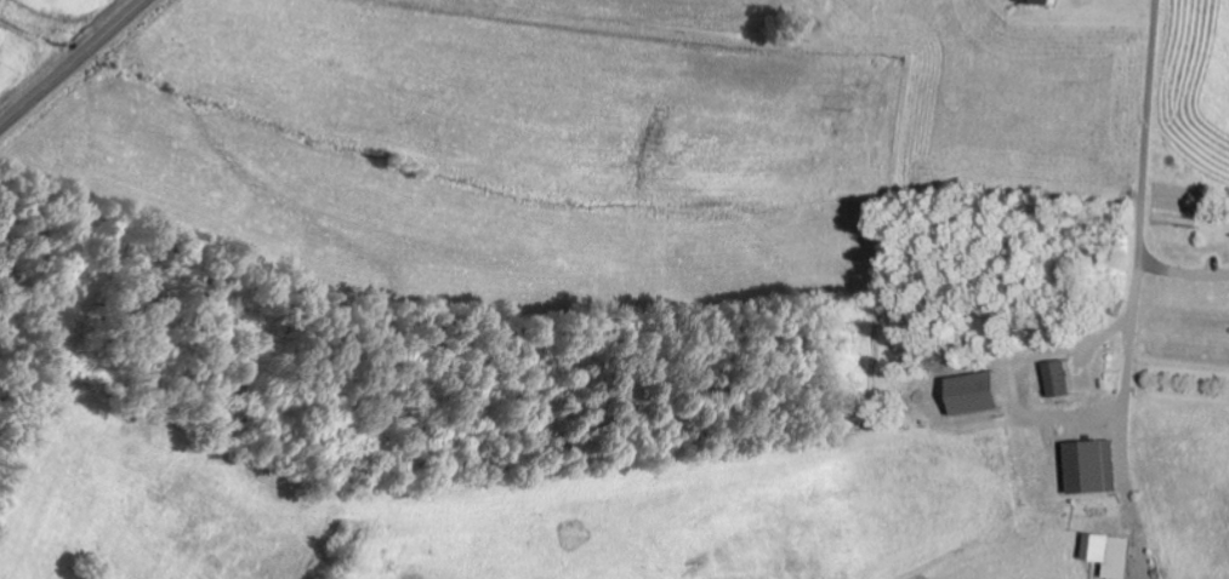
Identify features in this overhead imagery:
building: (1039, 2)
road: (73, 63)
building: (1059, 380)
building: (1093, 469)
building: (1111, 555)

